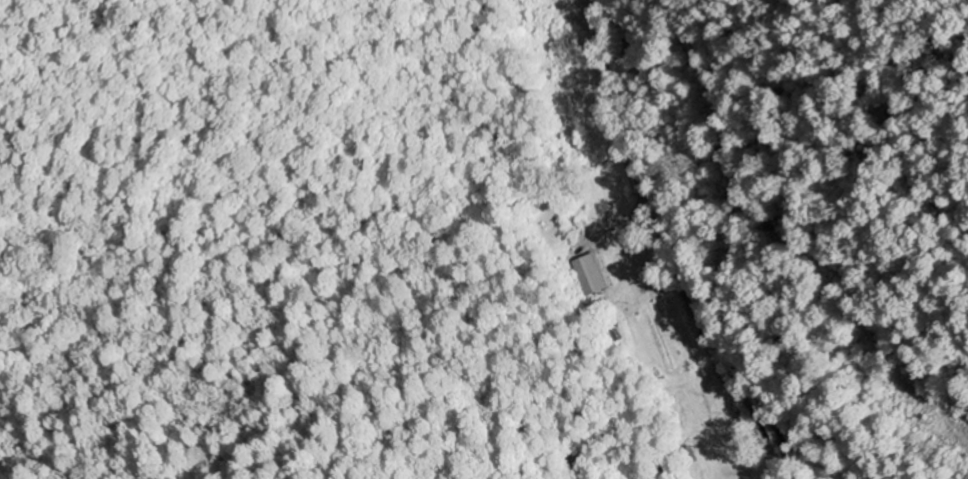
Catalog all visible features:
road: (676, 242)
building: (590, 276)

